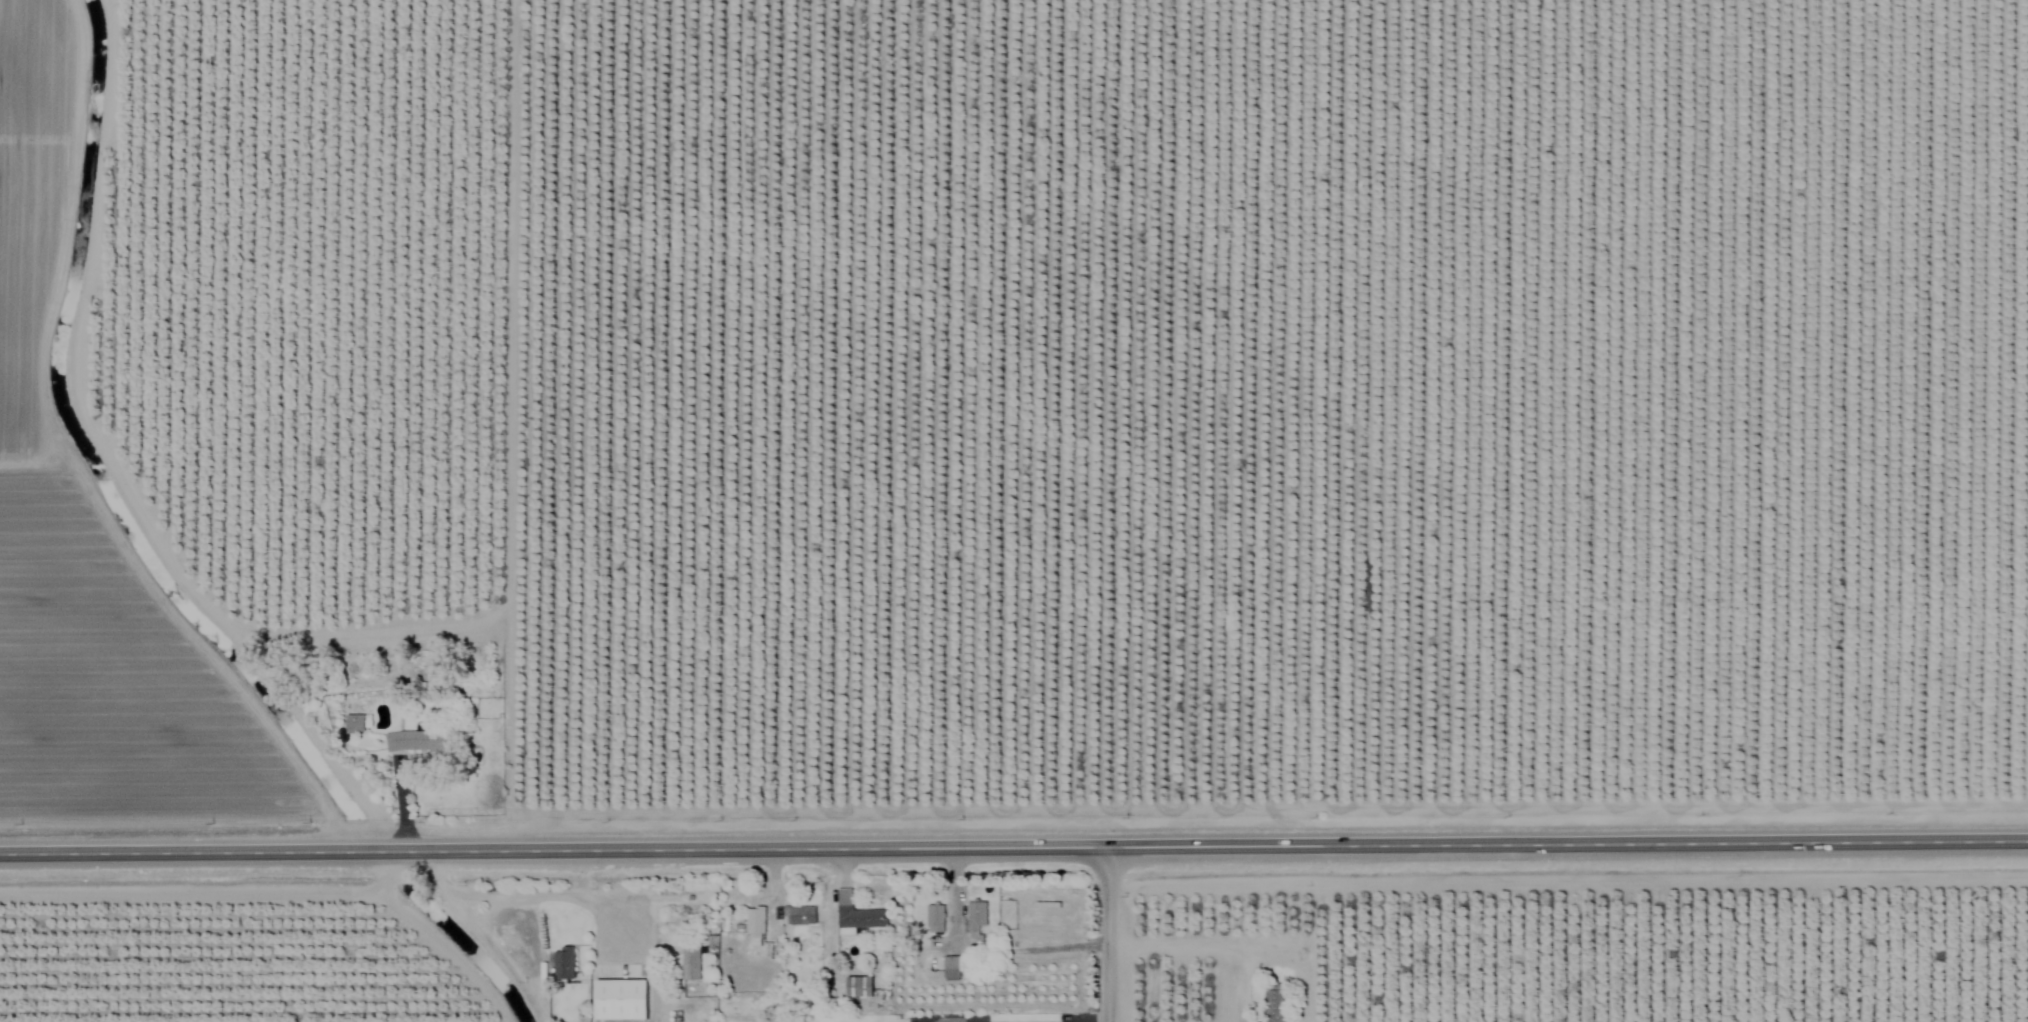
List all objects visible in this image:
crop: (1024, 389)
road: (121, 464)
building: (351, 723)
building: (404, 741)
road: (398, 808)
road: (1013, 858)
road: (564, 900)
building: (854, 911)
building: (796, 913)
building: (931, 917)
building: (974, 919)
building: (752, 924)
road: (1111, 940)
road: (1200, 943)
crop: (1680, 949)
crop: (217, 957)
building: (560, 961)
building: (687, 961)
building: (947, 962)
building: (855, 985)
building: (616, 998)
building: (1271, 1002)
building: (1251, 1021)

